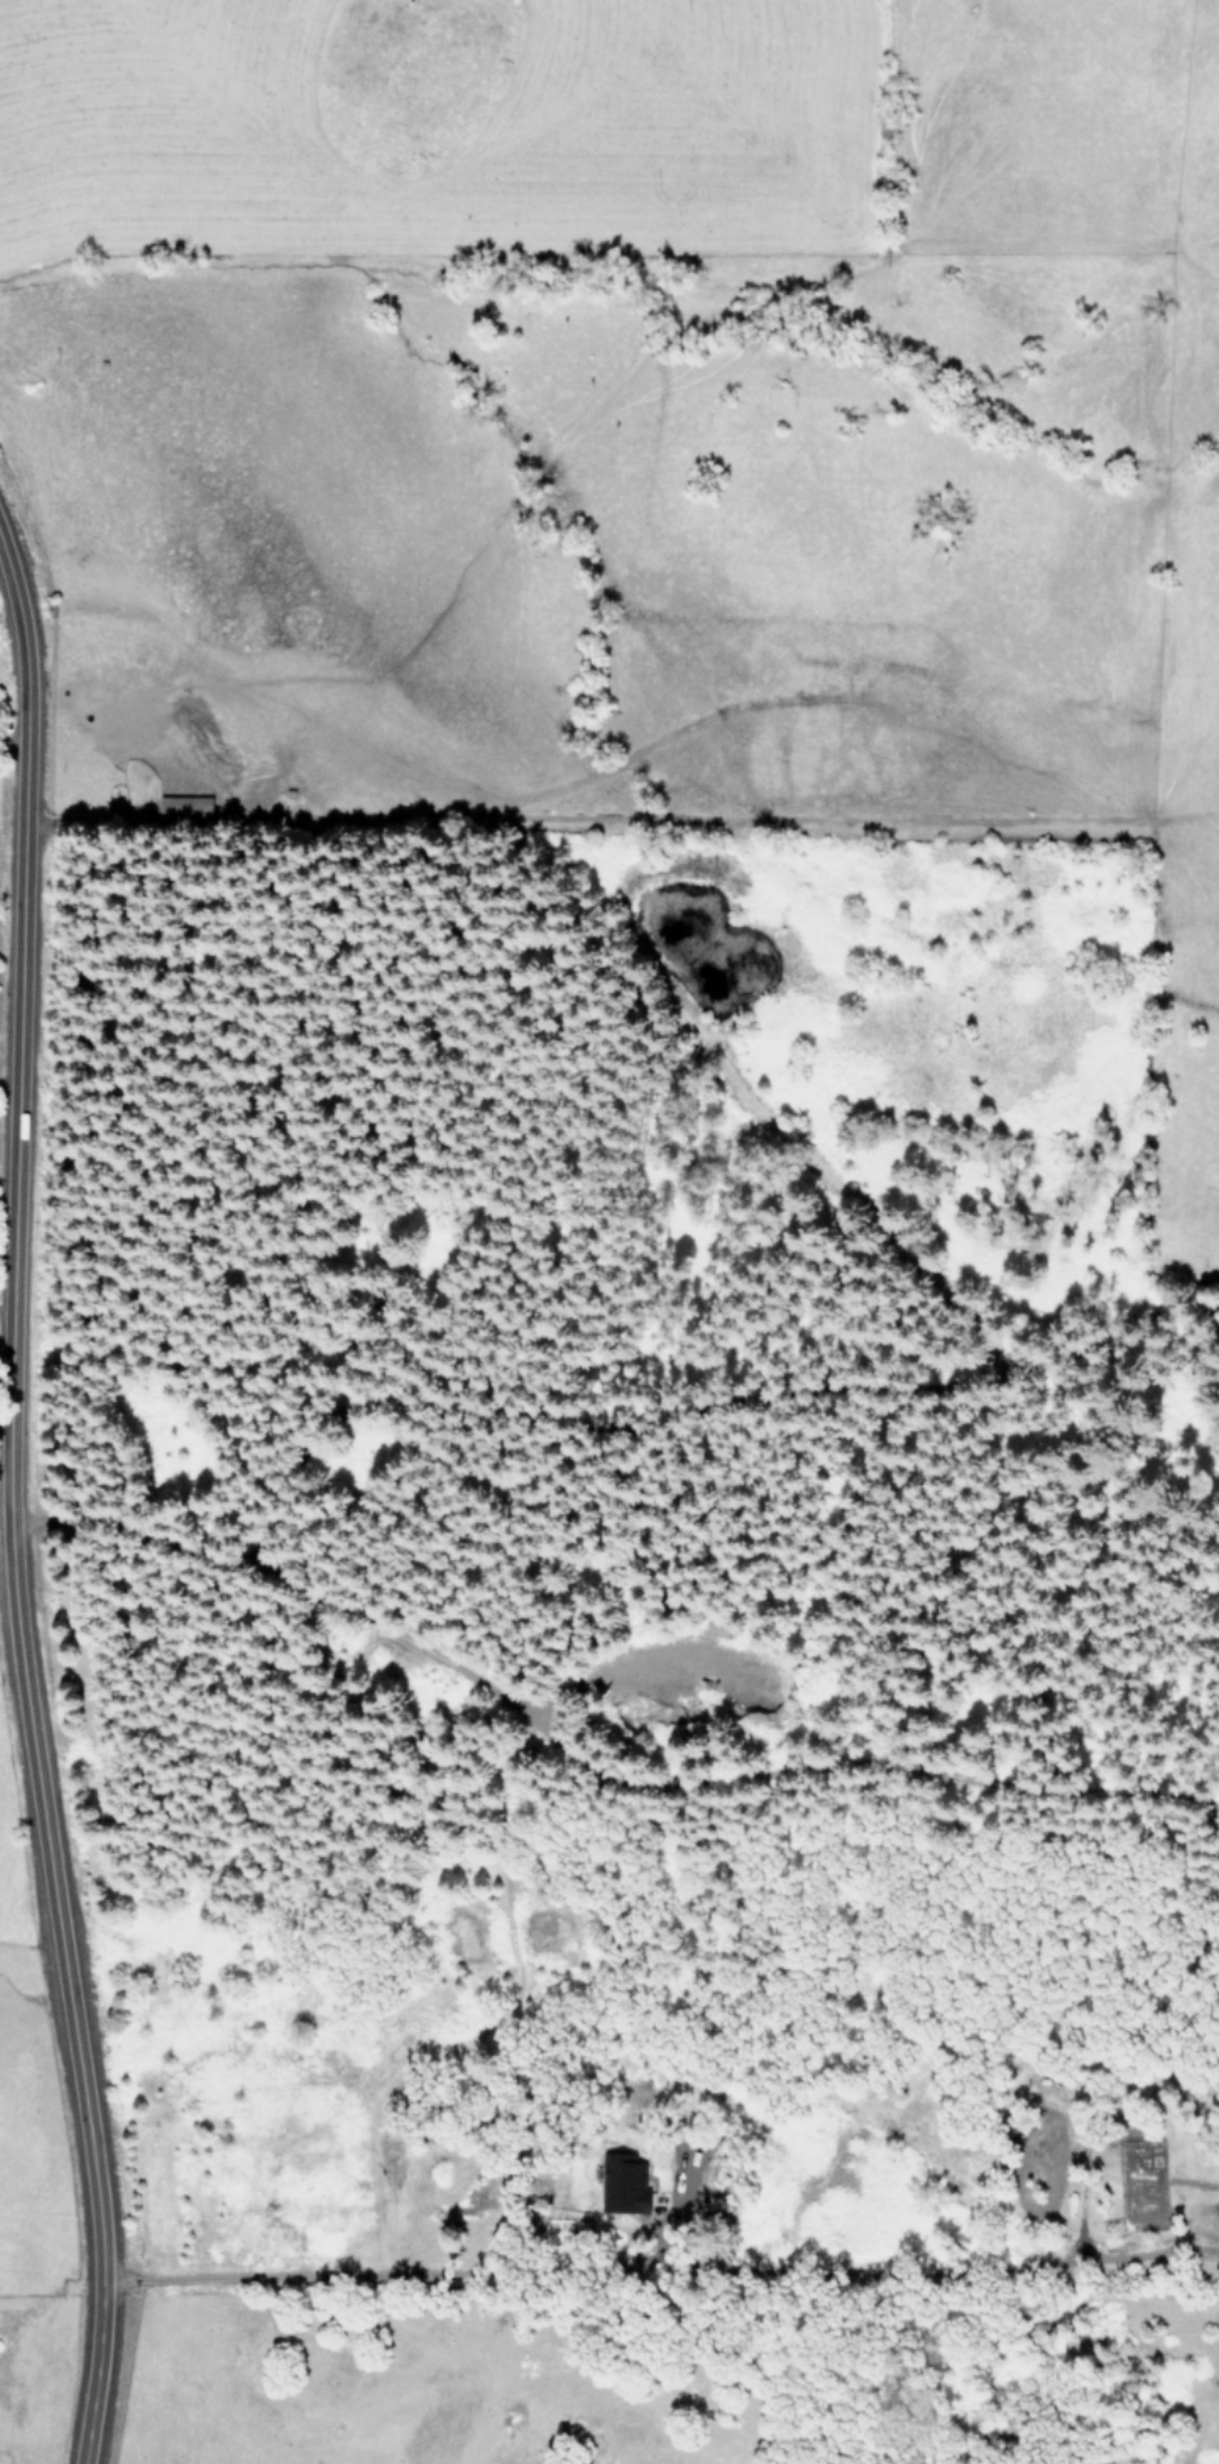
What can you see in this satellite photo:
crop: (653, 495)
road: (17, 1502)
road: (8, 1515)
crop: (18, 2170)
building: (625, 2182)
road: (657, 2265)

